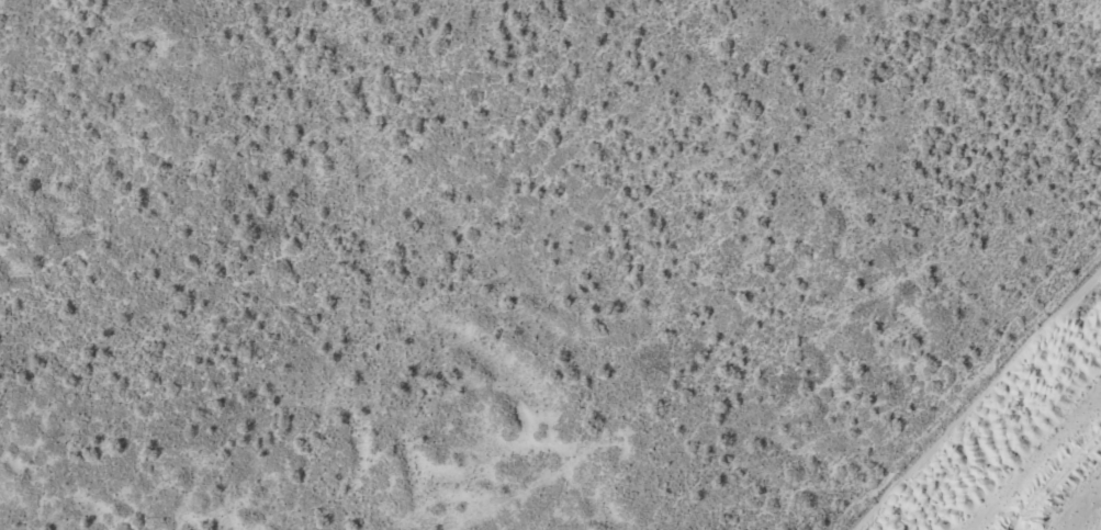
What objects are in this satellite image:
quarry: (1023, 448)

